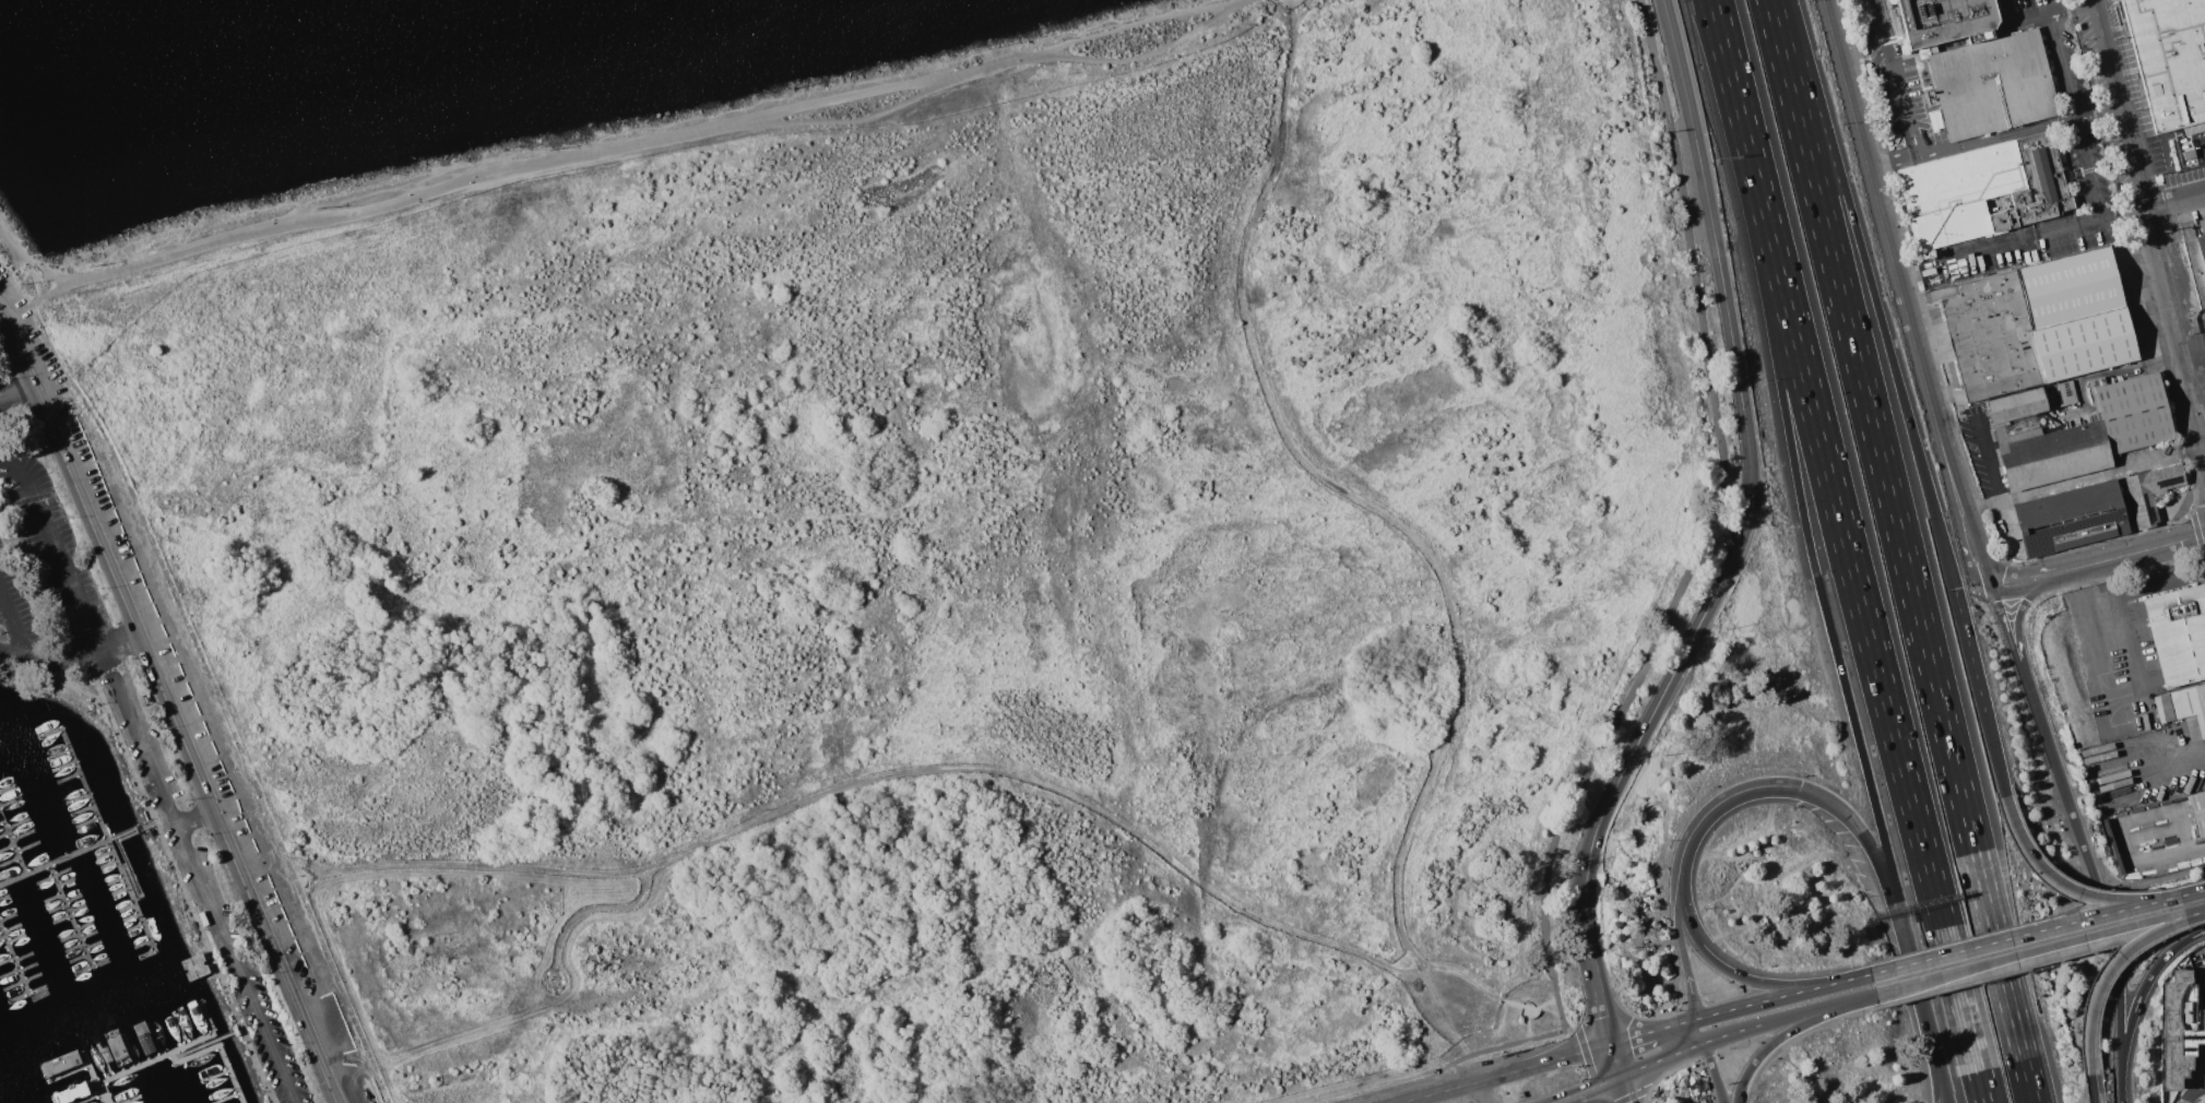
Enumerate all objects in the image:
road: (2071, 8)
building: (1941, 20)
road: (2016, 23)
building: (2169, 59)
road: (2061, 66)
road: (1894, 76)
road: (1733, 87)
building: (1990, 87)
road: (2120, 103)
road: (1995, 135)
road: (605, 159)
road: (1890, 159)
road: (2086, 167)
railway: (2145, 181)
road: (2176, 198)
building: (1971, 199)
road: (2122, 212)
railway: (2150, 212)
road: (2010, 241)
road: (1887, 248)
building: (2196, 262)
road: (1872, 289)
building: (2037, 323)
road: (2176, 329)
road: (2192, 344)
road: (2113, 372)
road: (17, 396)
building: (2016, 405)
building: (2133, 412)
building: (2032, 430)
parking lot: (1980, 450)
building: (2053, 455)
road: (1987, 459)
road: (2085, 477)
building: (2149, 491)
road: (1379, 517)
road: (1955, 518)
building: (2070, 518)
road: (2007, 526)
road: (1973, 532)
road: (1739, 536)
road: (2148, 548)
road: (55, 549)
road: (1902, 550)
park: (957, 560)
parking lot: (42, 565)
road: (1813, 566)
road: (1969, 566)
road: (2068, 569)
road: (1692, 570)
road: (2018, 572)
road: (2095, 577)
road: (1991, 578)
road: (2020, 589)
building: (2178, 633)
road: (1869, 639)
road: (2017, 642)
road: (2010, 644)
road: (1968, 649)
road: (45, 659)
road: (2098, 671)
road: (94, 677)
building: (2183, 705)
road: (169, 711)
road: (1993, 754)
road: (2173, 763)
road: (906, 768)
pier: (83, 783)
road: (1718, 804)
building: (2198, 809)
road: (193, 818)
road: (2123, 822)
pier: (12, 844)
road: (167, 850)
road: (2195, 850)
pier: (76, 851)
road: (1872, 853)
pier: (130, 874)
road: (2061, 883)
road: (201, 887)
parking lot: (203, 890)
road: (2185, 892)
road: (2099, 893)
pier: (130, 894)
road: (2119, 898)
road: (586, 906)
pier: (70, 916)
road: (2113, 928)
road: (2018, 935)
road: (1680, 946)
pier: (13, 960)
parking lot: (2198, 965)
road: (1727, 966)
road: (2109, 966)
road: (1948, 971)
road: (1850, 977)
road: (1957, 986)
road: (1920, 988)
road: (1860, 994)
road: (2137, 998)
road: (1763, 999)
road: (1527, 1008)
road: (1774, 1019)
road: (1803, 1021)
road: (1826, 1023)
road: (1672, 1024)
building: (2180, 1029)
road: (1699, 1030)
road: (1628, 1036)
road: (1753, 1036)
pier: (206, 1041)
pier: (191, 1042)
pier: (220, 1048)
road: (1765, 1048)
road: (1733, 1051)
road: (1478, 1053)
road: (1706, 1055)
road: (1660, 1058)
road: (1613, 1059)
road: (1935, 1065)
road: (1939, 1065)
pier: (125, 1070)
road: (1665, 1072)
road: (1712, 1072)
road: (1745, 1072)
road: (1507, 1074)
road: (1582, 1089)
road: (1621, 1089)
road: (2091, 1089)
road: (2193, 1091)
road: (1485, 1092)
road: (1633, 1094)
road: (2120, 1099)

